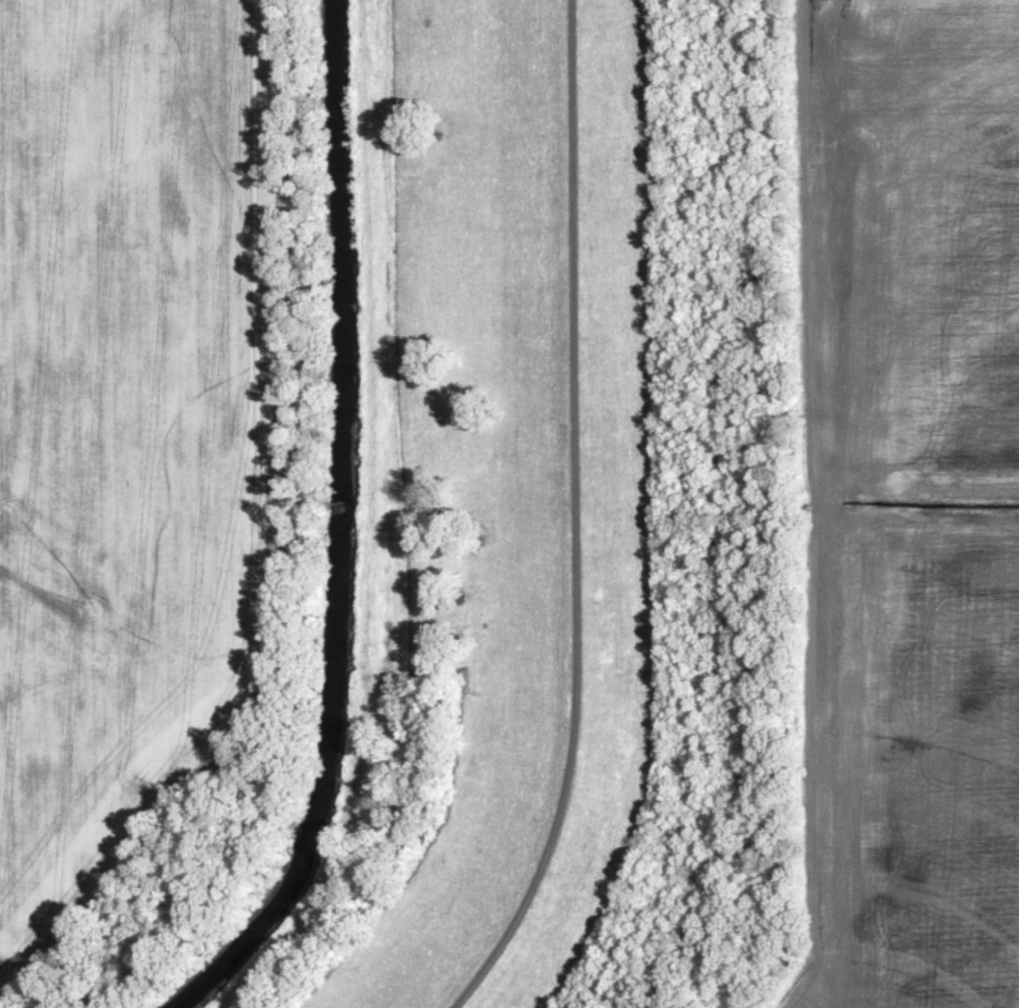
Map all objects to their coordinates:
road: (810, 507)
road: (576, 519)

